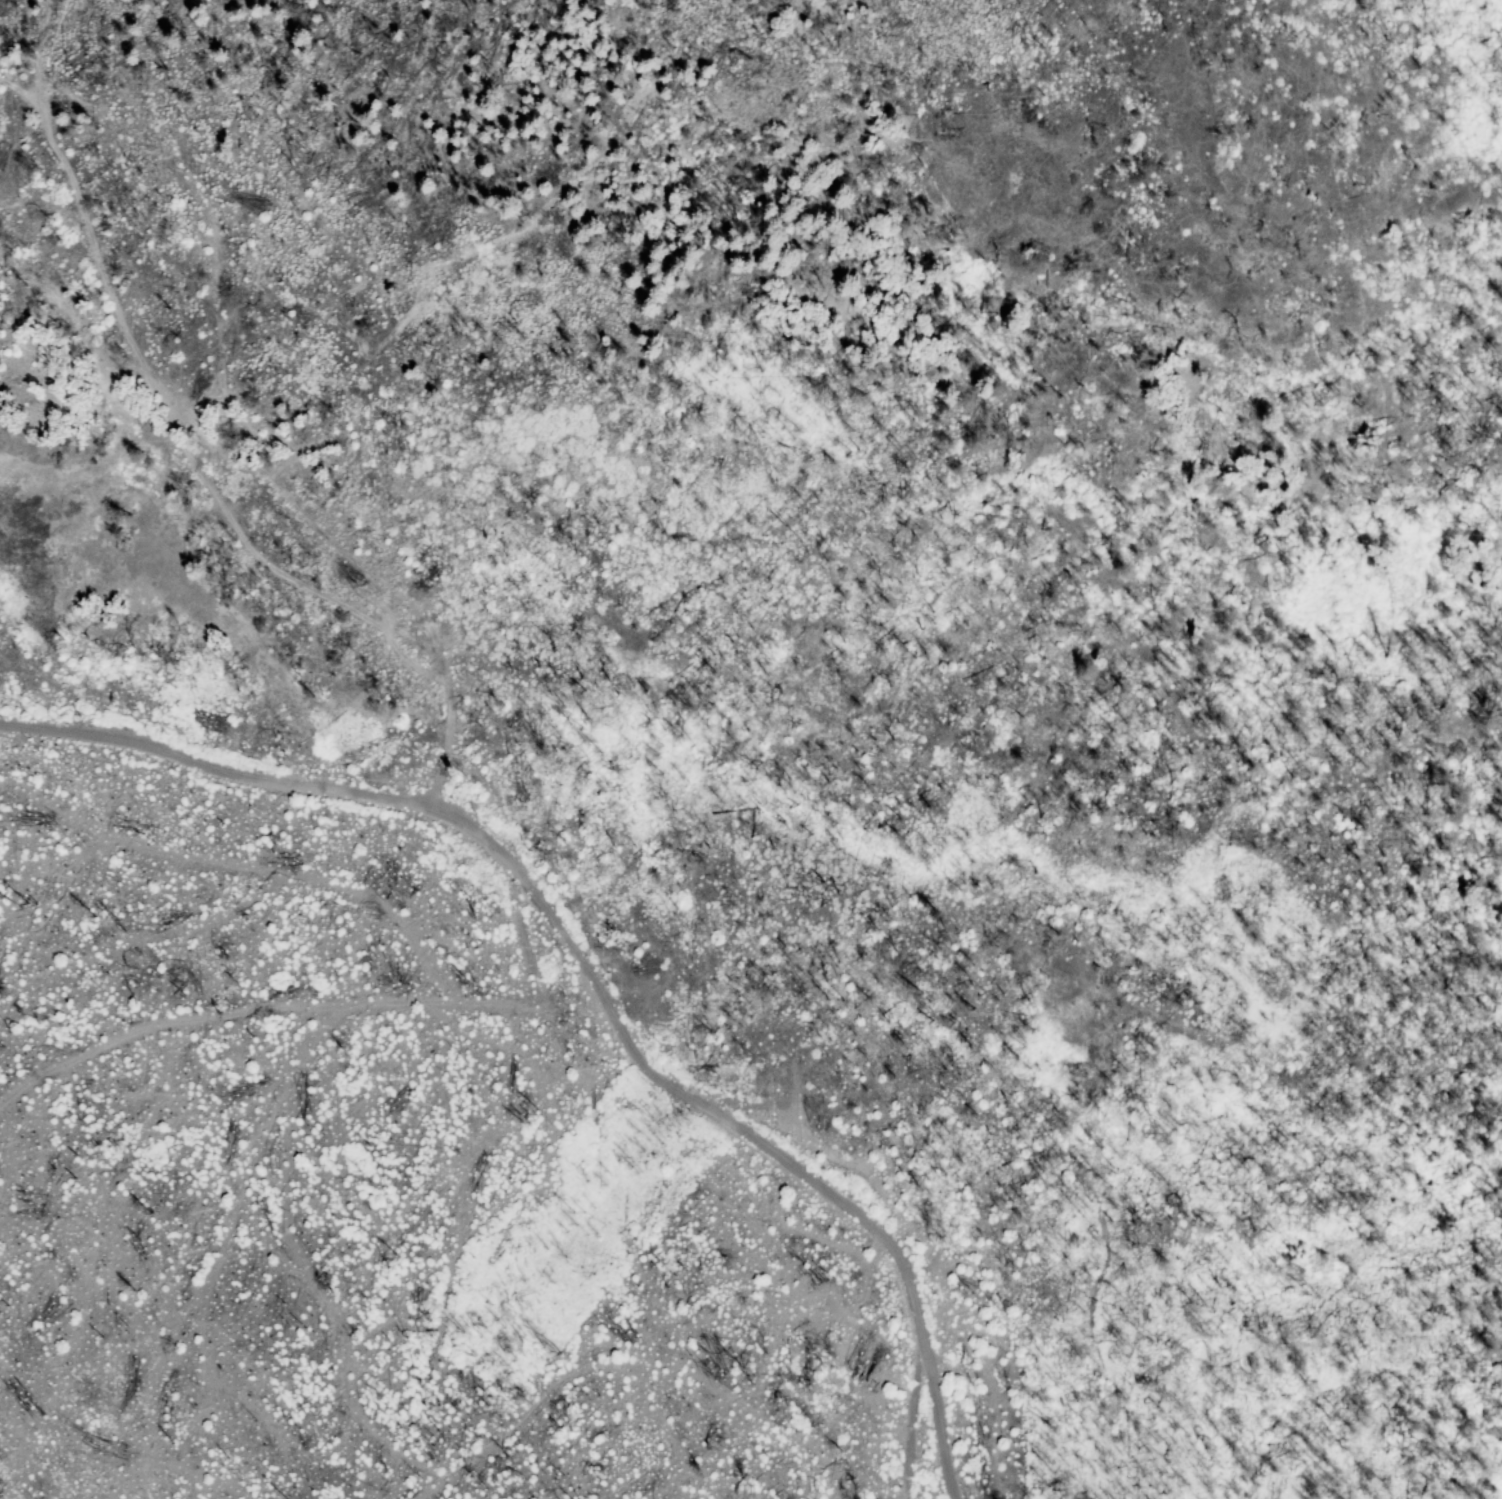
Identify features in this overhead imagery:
road: (46, 6)
road: (183, 447)
road: (213, 767)
road: (734, 1126)

